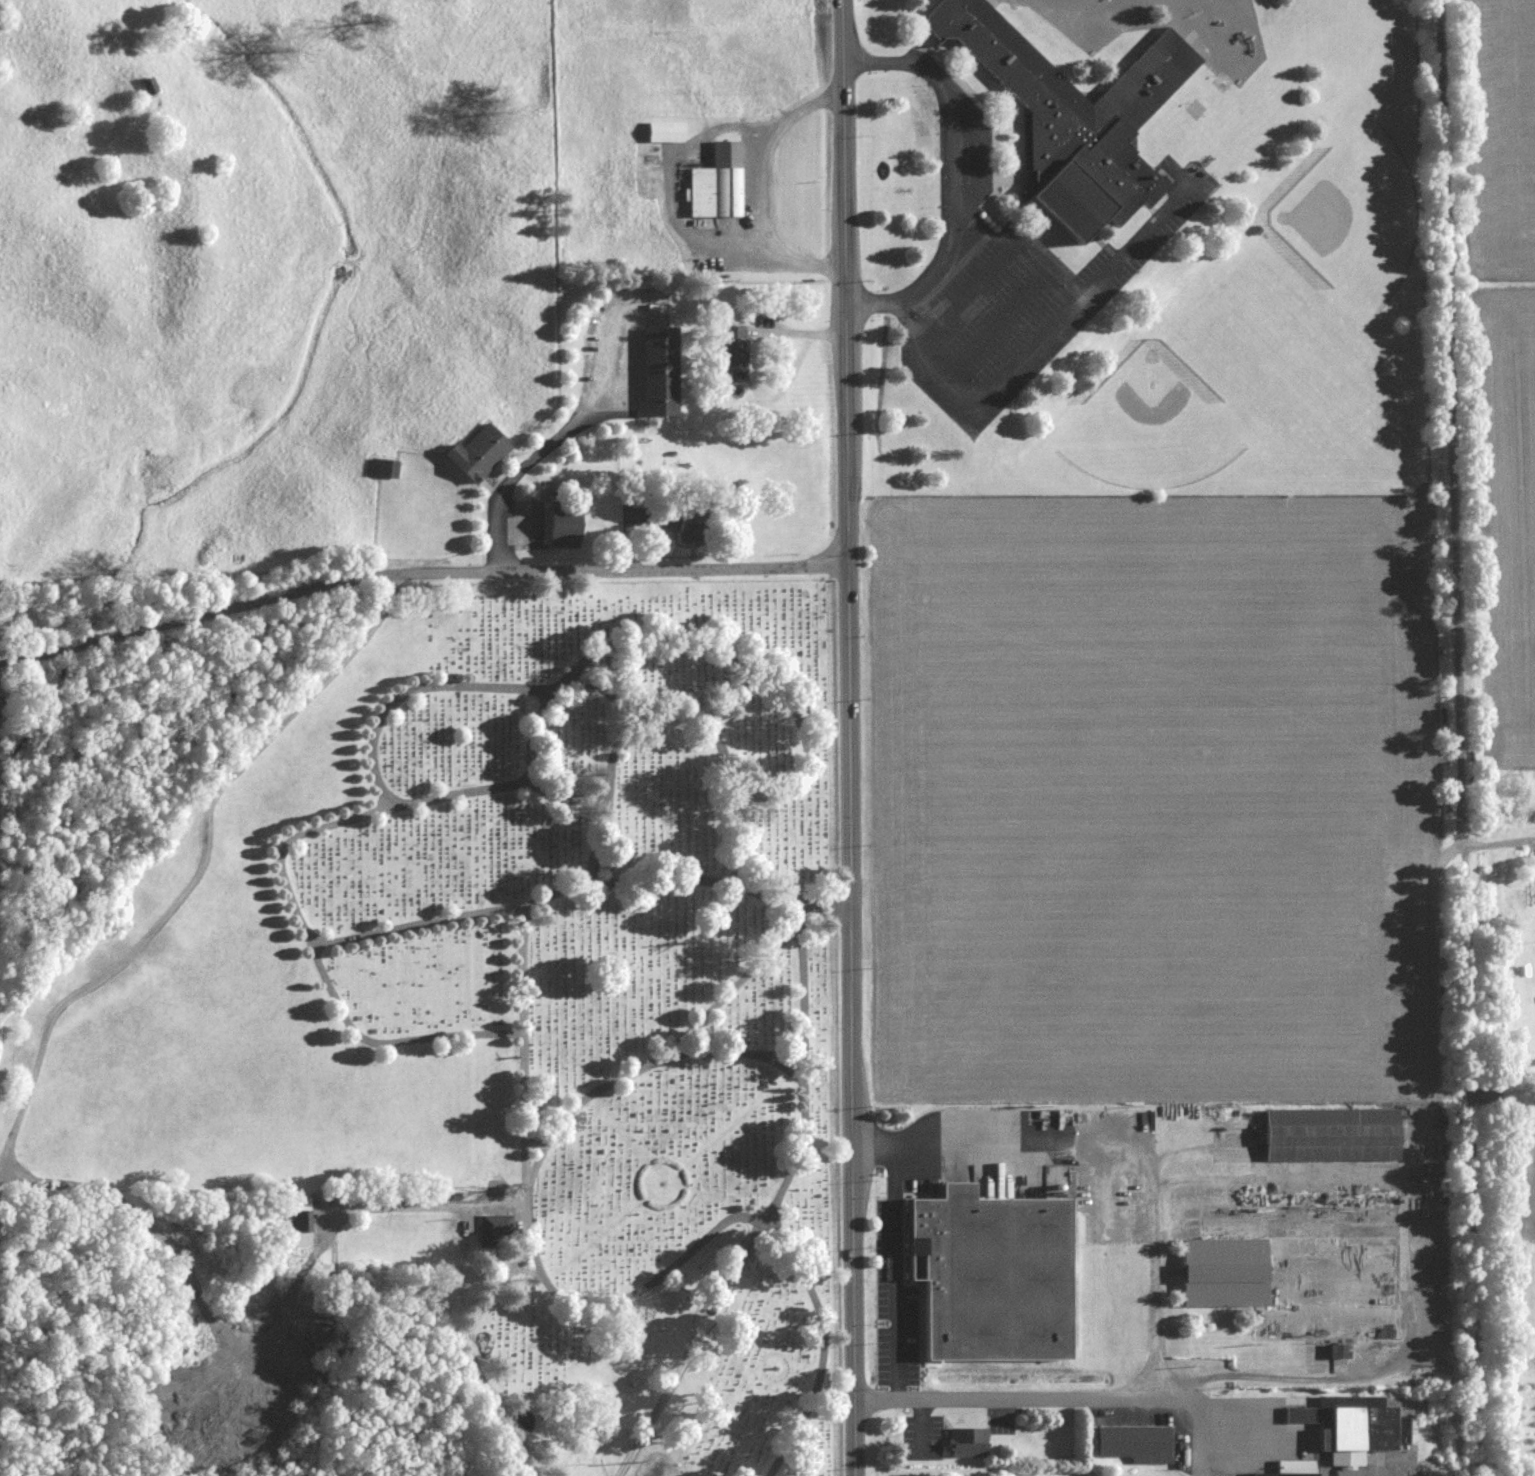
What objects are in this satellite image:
building: (1071, 116)
building: (663, 133)
road: (959, 175)
road: (759, 184)
building: (714, 185)
road: (665, 190)
road: (1028, 247)
road: (1042, 339)
building: (730, 350)
building: (655, 373)
road: (544, 450)
building: (474, 455)
building: (382, 470)
building: (556, 529)
road: (418, 572)
road: (669, 631)
road: (415, 689)
road: (668, 713)
road: (849, 737)
road: (579, 886)
road: (294, 900)
road: (788, 911)
park: (440, 1019)
road: (733, 1053)
road: (659, 1059)
road: (783, 1065)
road: (805, 1066)
road: (1431, 1096)
building: (1327, 1135)
road: (1109, 1158)
fountain: (662, 1182)
building: (295, 1224)
road: (335, 1226)
building: (494, 1226)
road: (897, 1270)
building: (1221, 1273)
building: (998, 1275)
road: (1420, 1287)
road: (617, 1301)
road: (720, 1310)
road: (689, 1346)
building: (1335, 1352)
road: (1059, 1397)
road: (921, 1422)
building: (1350, 1430)
building: (965, 1443)
building: (1133, 1444)
building: (1292, 1469)
road: (1342, 1475)

